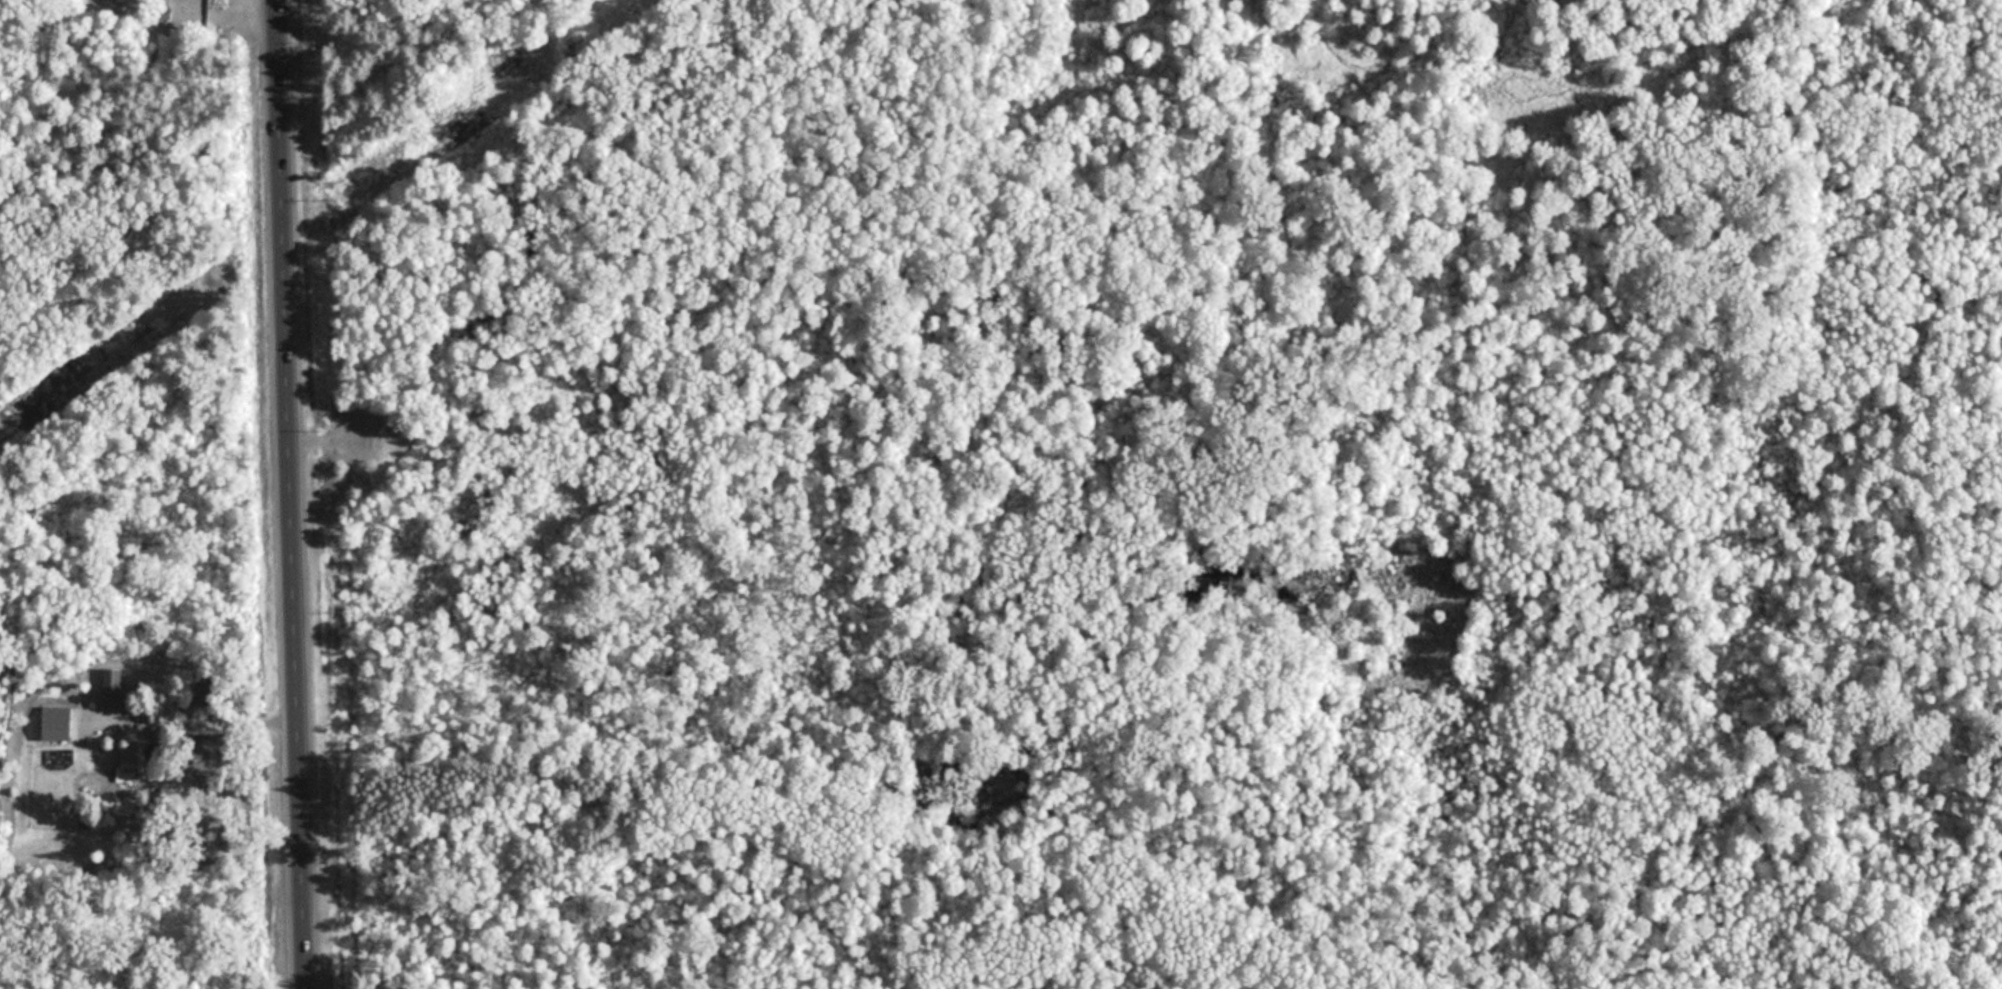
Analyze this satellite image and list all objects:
road: (290, 494)
park: (1080, 503)
building: (58, 722)
road: (206, 722)
building: (132, 758)

